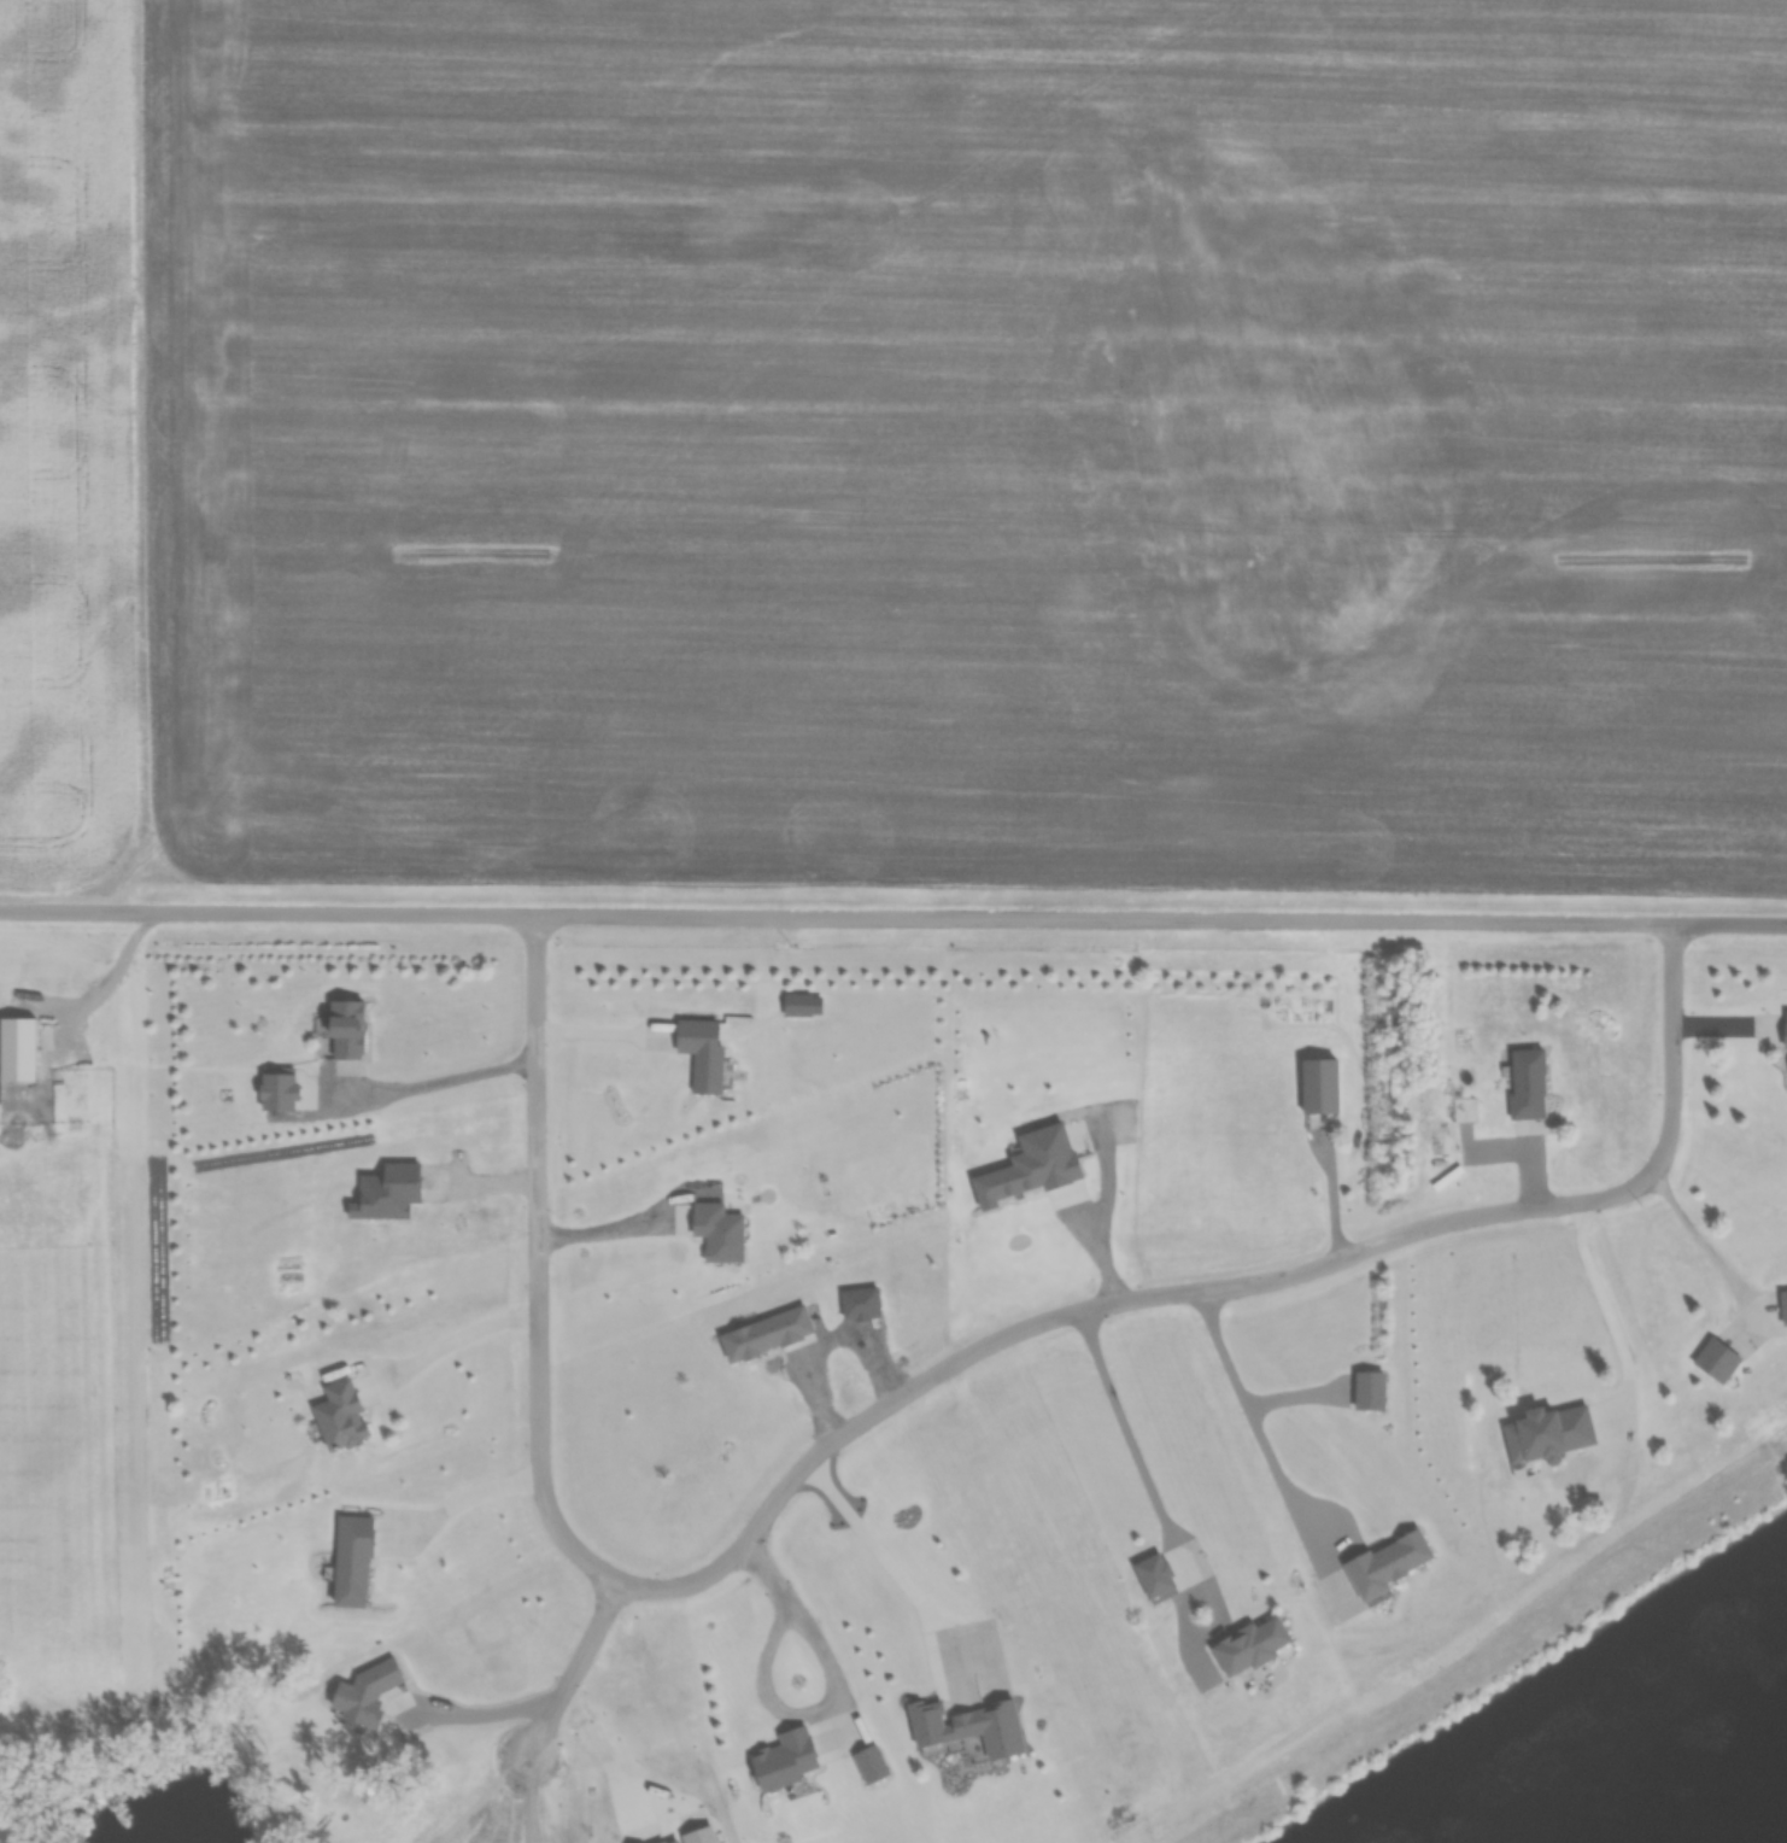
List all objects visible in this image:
road: (836, 917)
road: (1729, 923)
road: (602, 1028)
building: (1785, 1030)
building: (1528, 1086)
building: (1316, 1088)
building: (1466, 1111)
road: (610, 1225)
road: (1703, 1234)
road: (535, 1263)
road: (1220, 1286)
road: (1611, 1317)
building: (1734, 1317)
building: (338, 1417)
road: (1256, 1422)
building: (1568, 1468)
building: (1388, 1564)
road: (896, 1569)
building: (1249, 1646)
road: (568, 1671)
road: (828, 1689)
road: (486, 1708)
building: (944, 1722)
road: (608, 1759)
building: (780, 1762)

